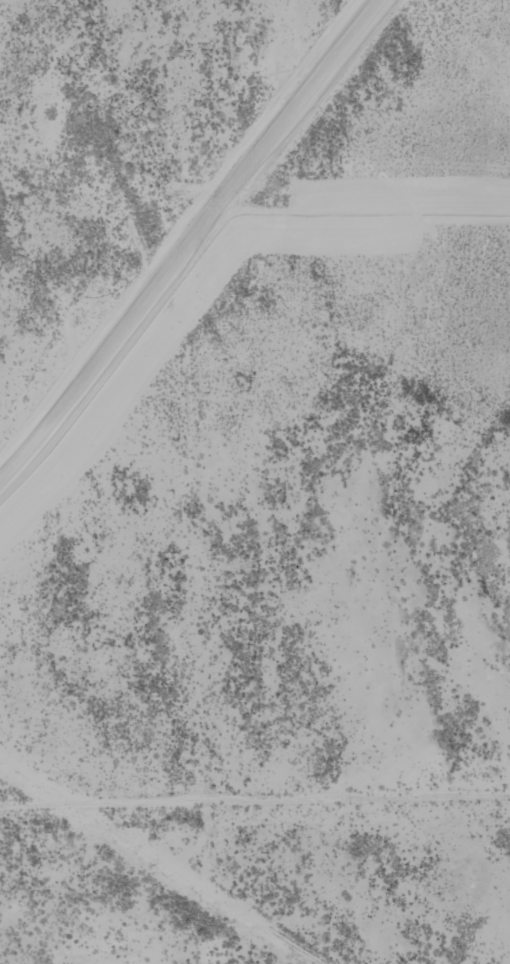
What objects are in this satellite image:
road: (99, 357)
road: (188, 453)

